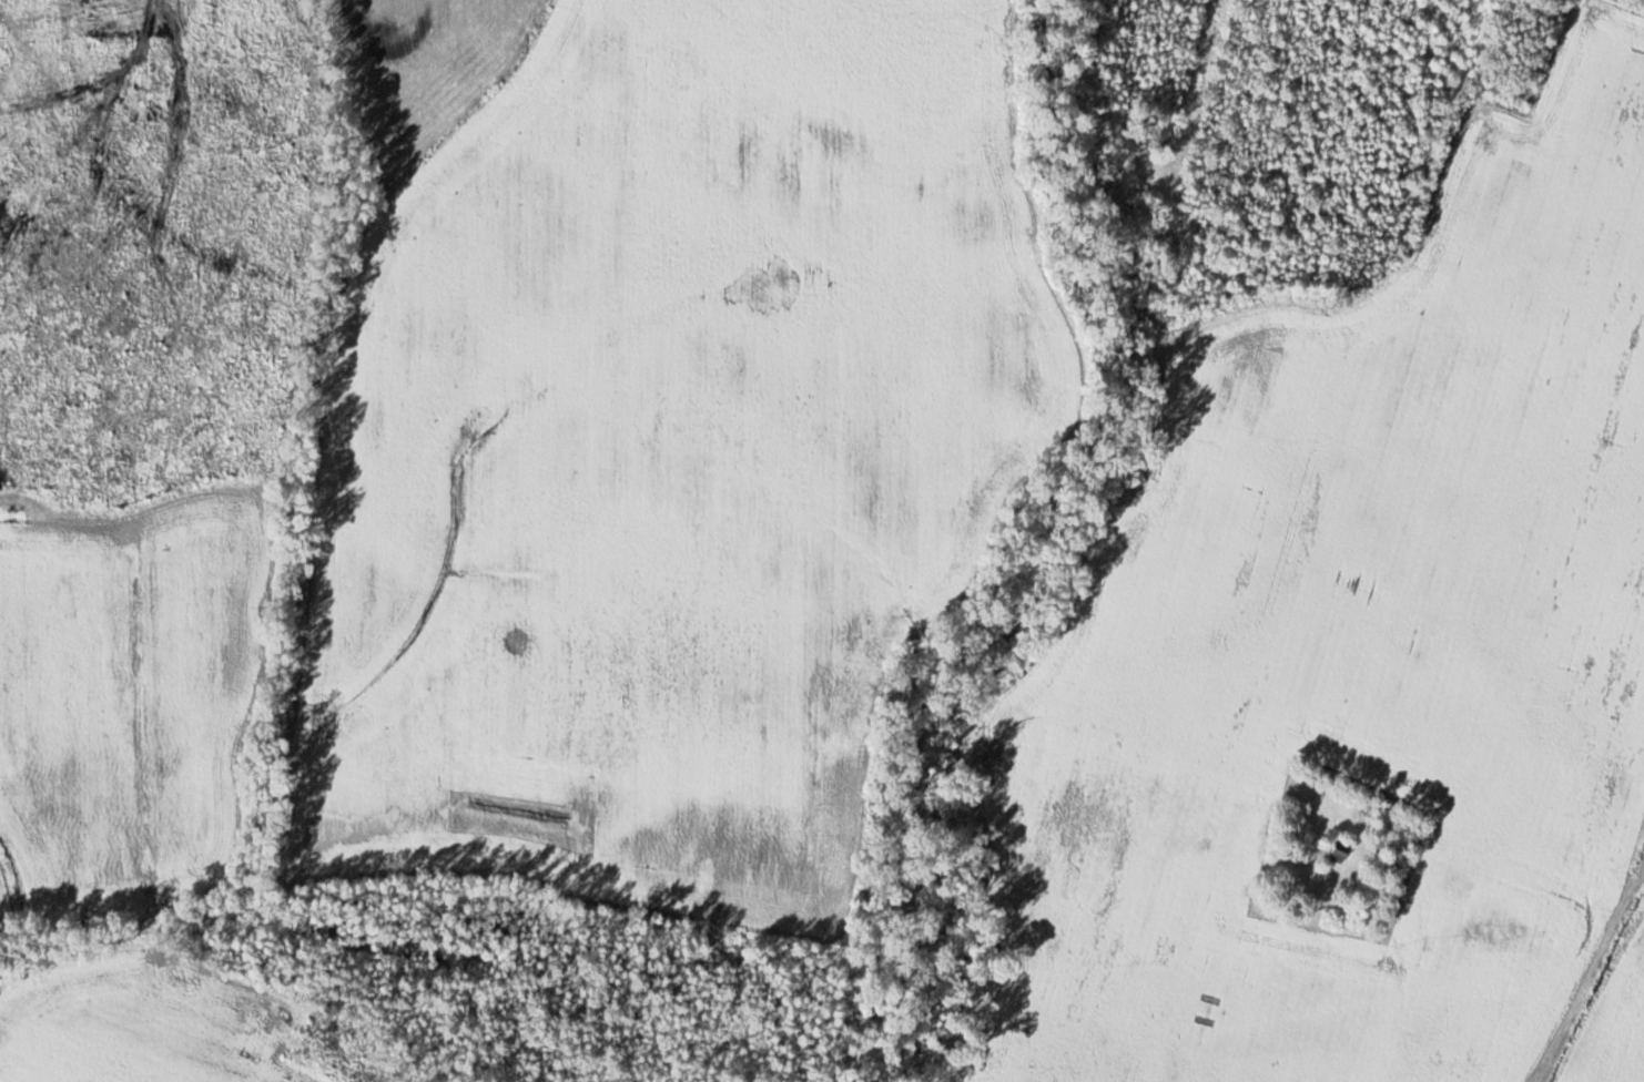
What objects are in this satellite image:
building: (1163, 132)
building: (1340, 851)

